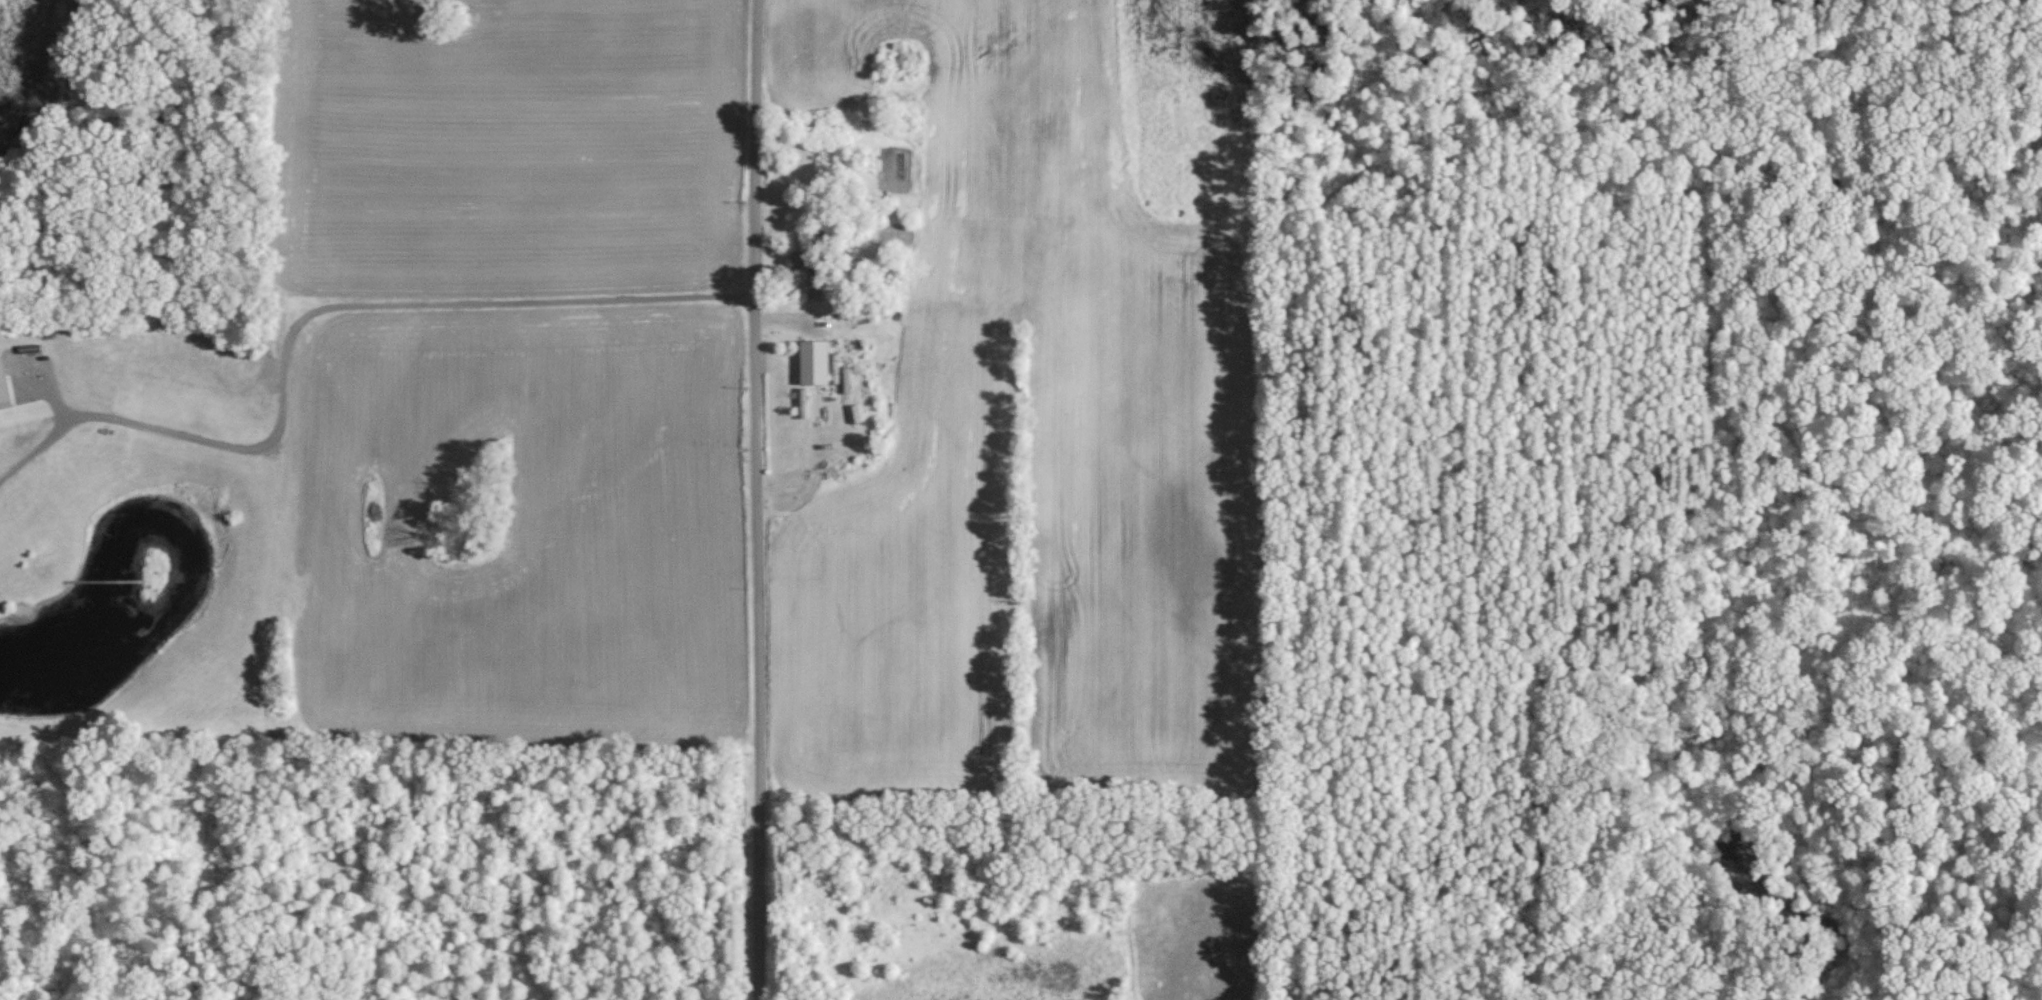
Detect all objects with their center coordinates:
building: (938, 191)
road: (314, 317)
building: (812, 362)
road: (754, 500)

